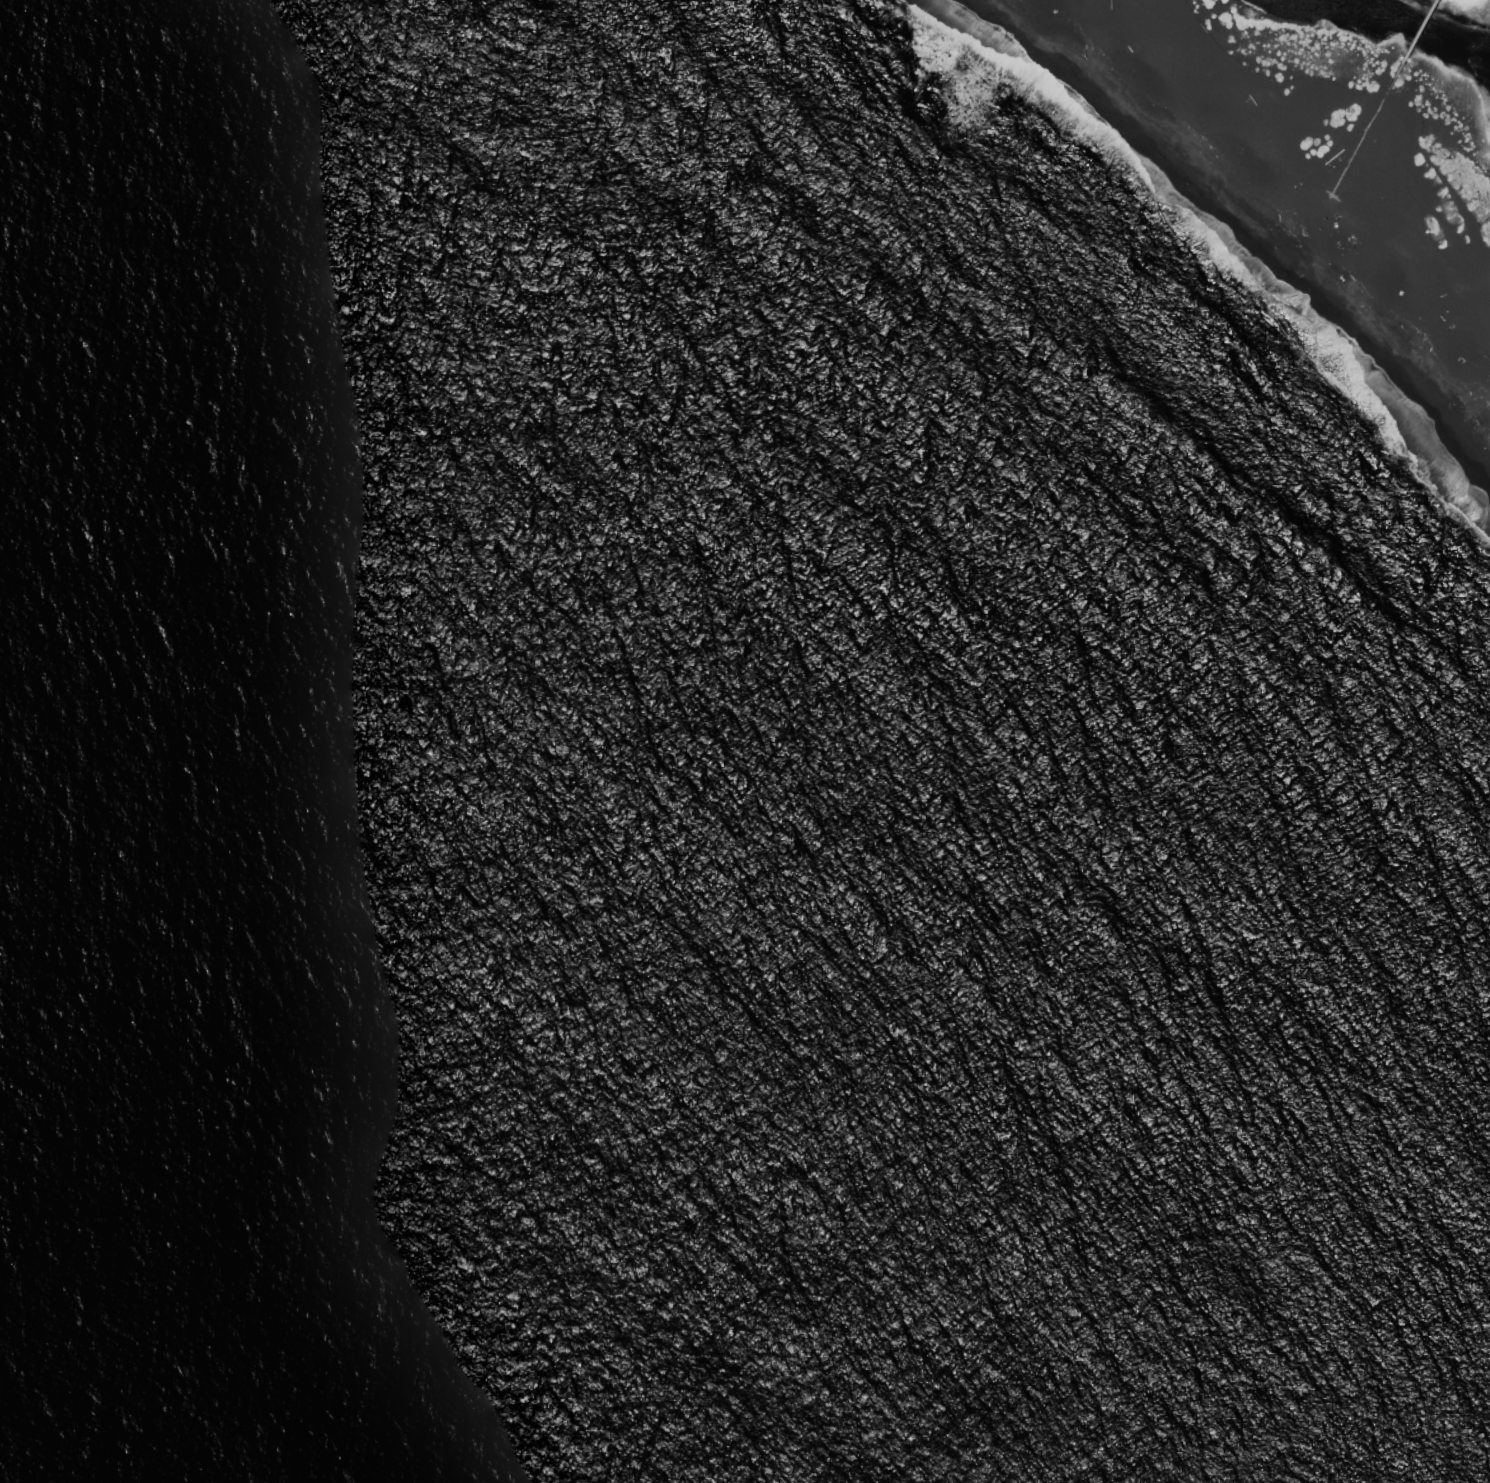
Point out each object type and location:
road: (1416, 45)
road: (1440, 175)

